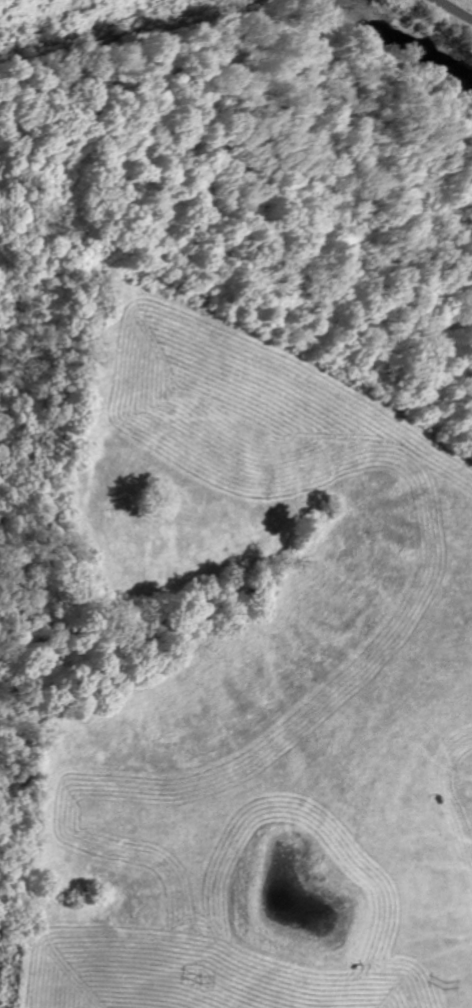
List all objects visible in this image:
road: (454, 10)
power tower: (202, 979)
power tower: (446, 983)

